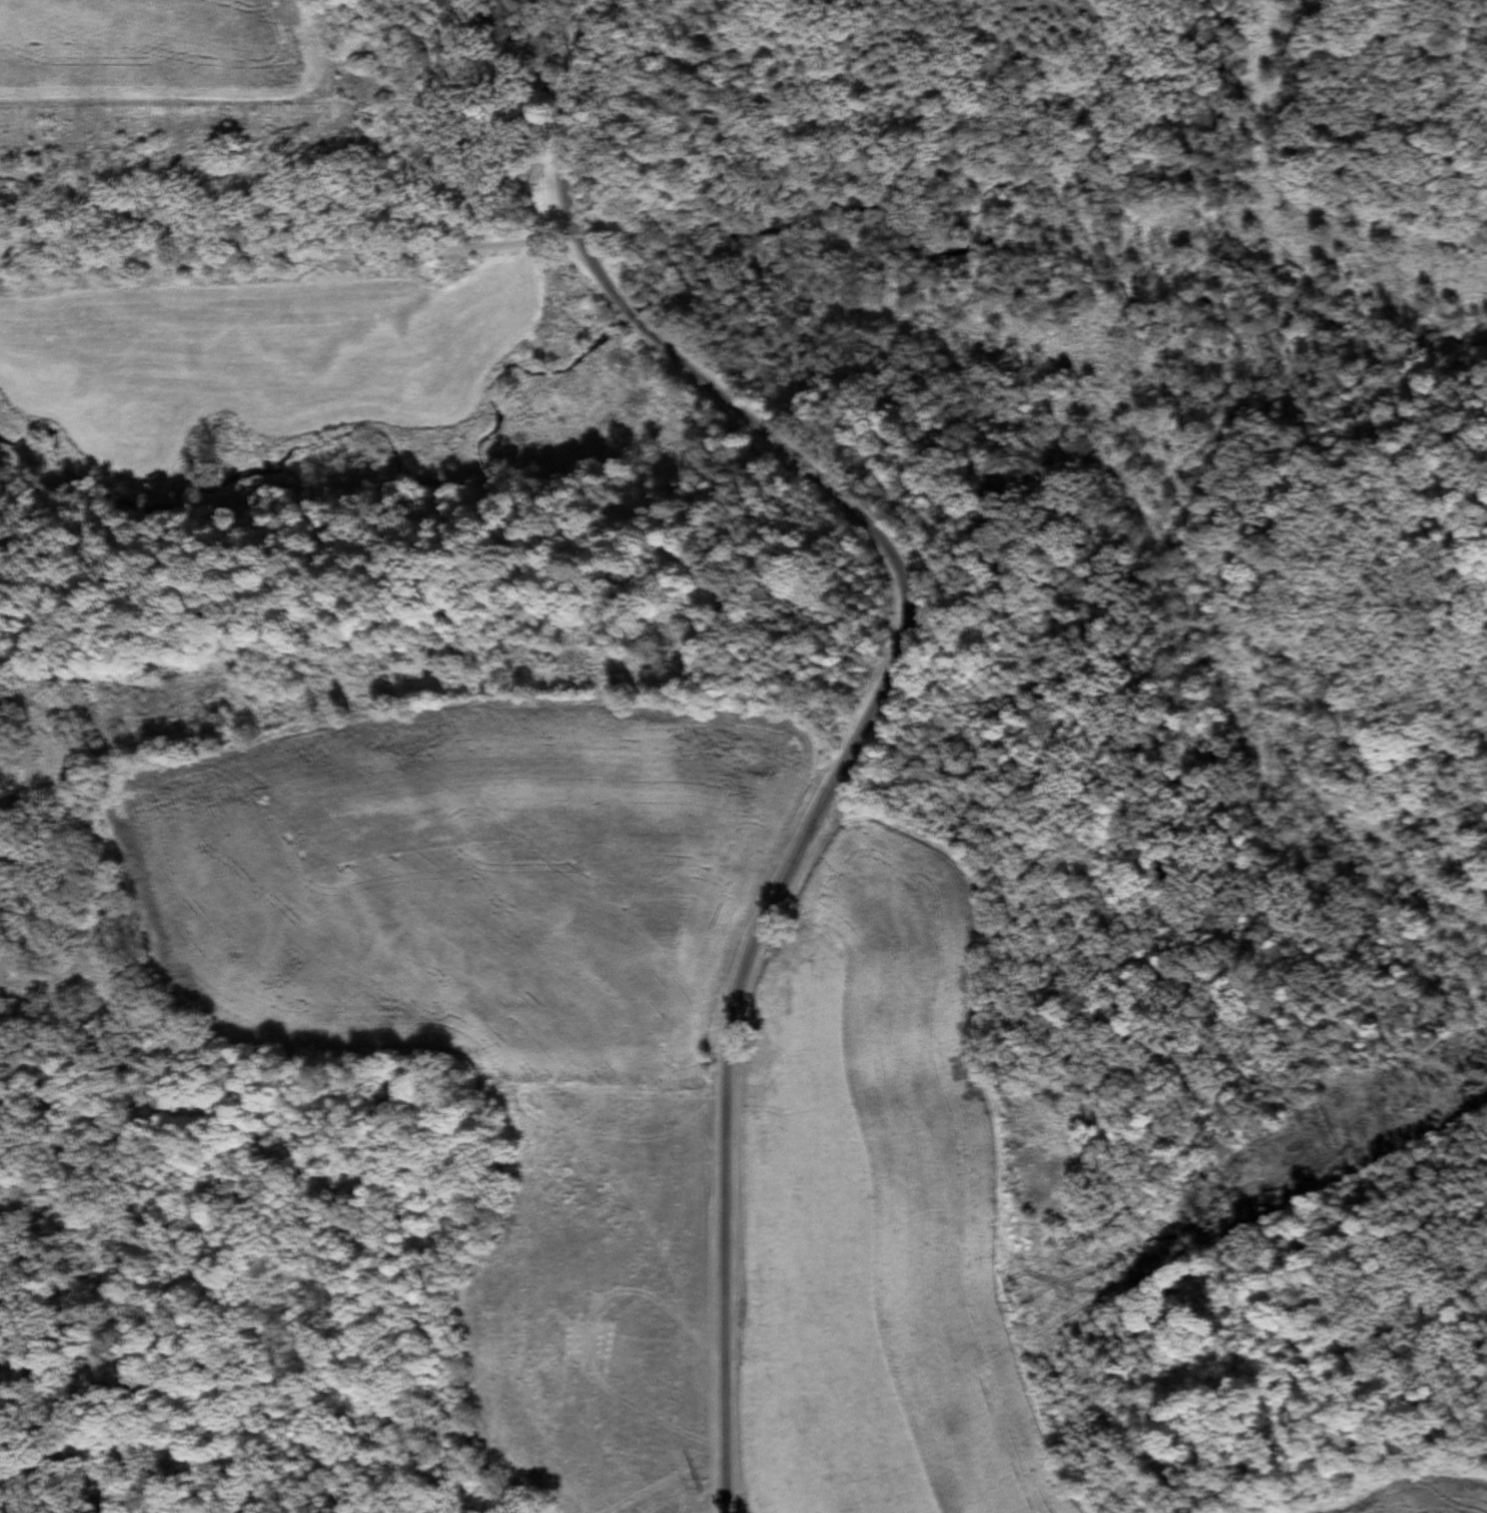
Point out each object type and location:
road: (280, 260)
road: (880, 691)
power tower: (1336, 1137)
power tower: (1010, 1305)
power tower: (695, 1483)

